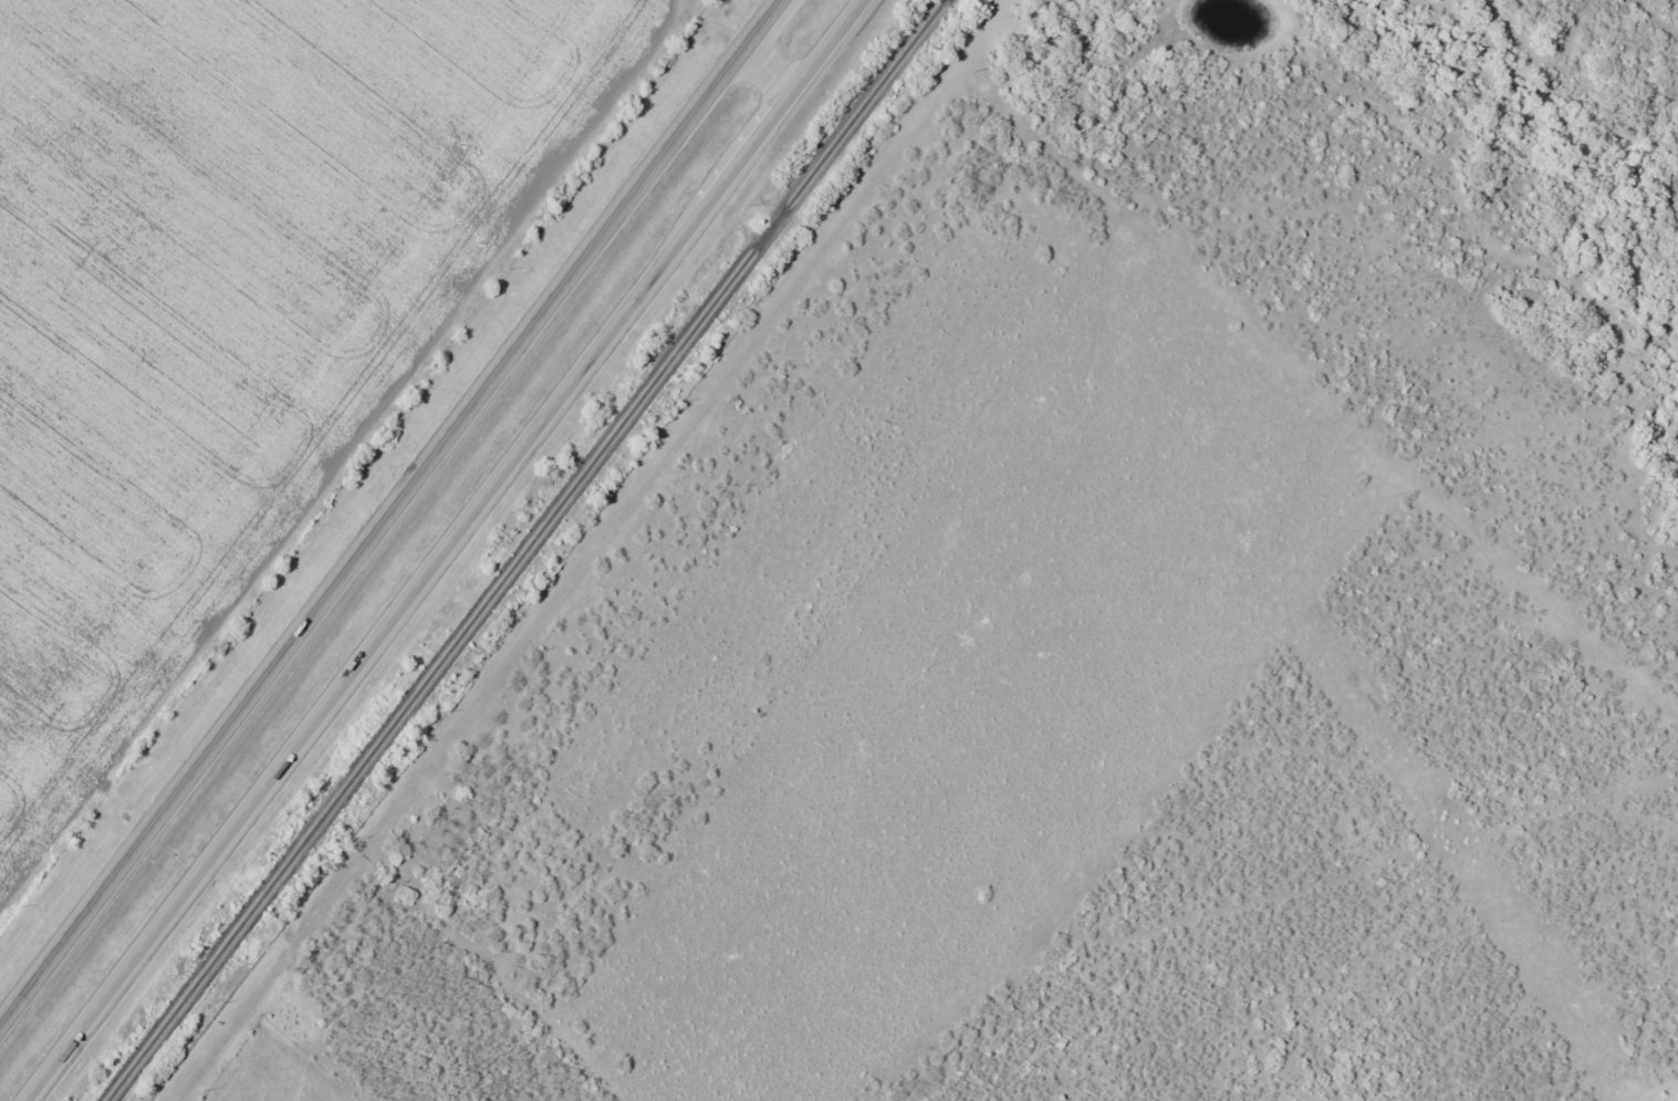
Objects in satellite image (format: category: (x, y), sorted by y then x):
road: (773, 73)
road: (389, 511)
railway: (531, 550)
road: (608, 550)
road: (458, 551)

